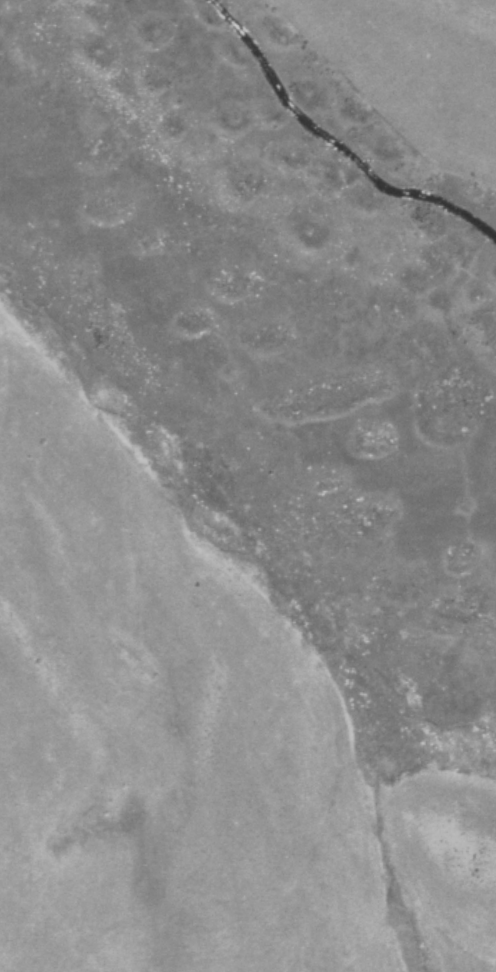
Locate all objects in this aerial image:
road: (336, 143)

